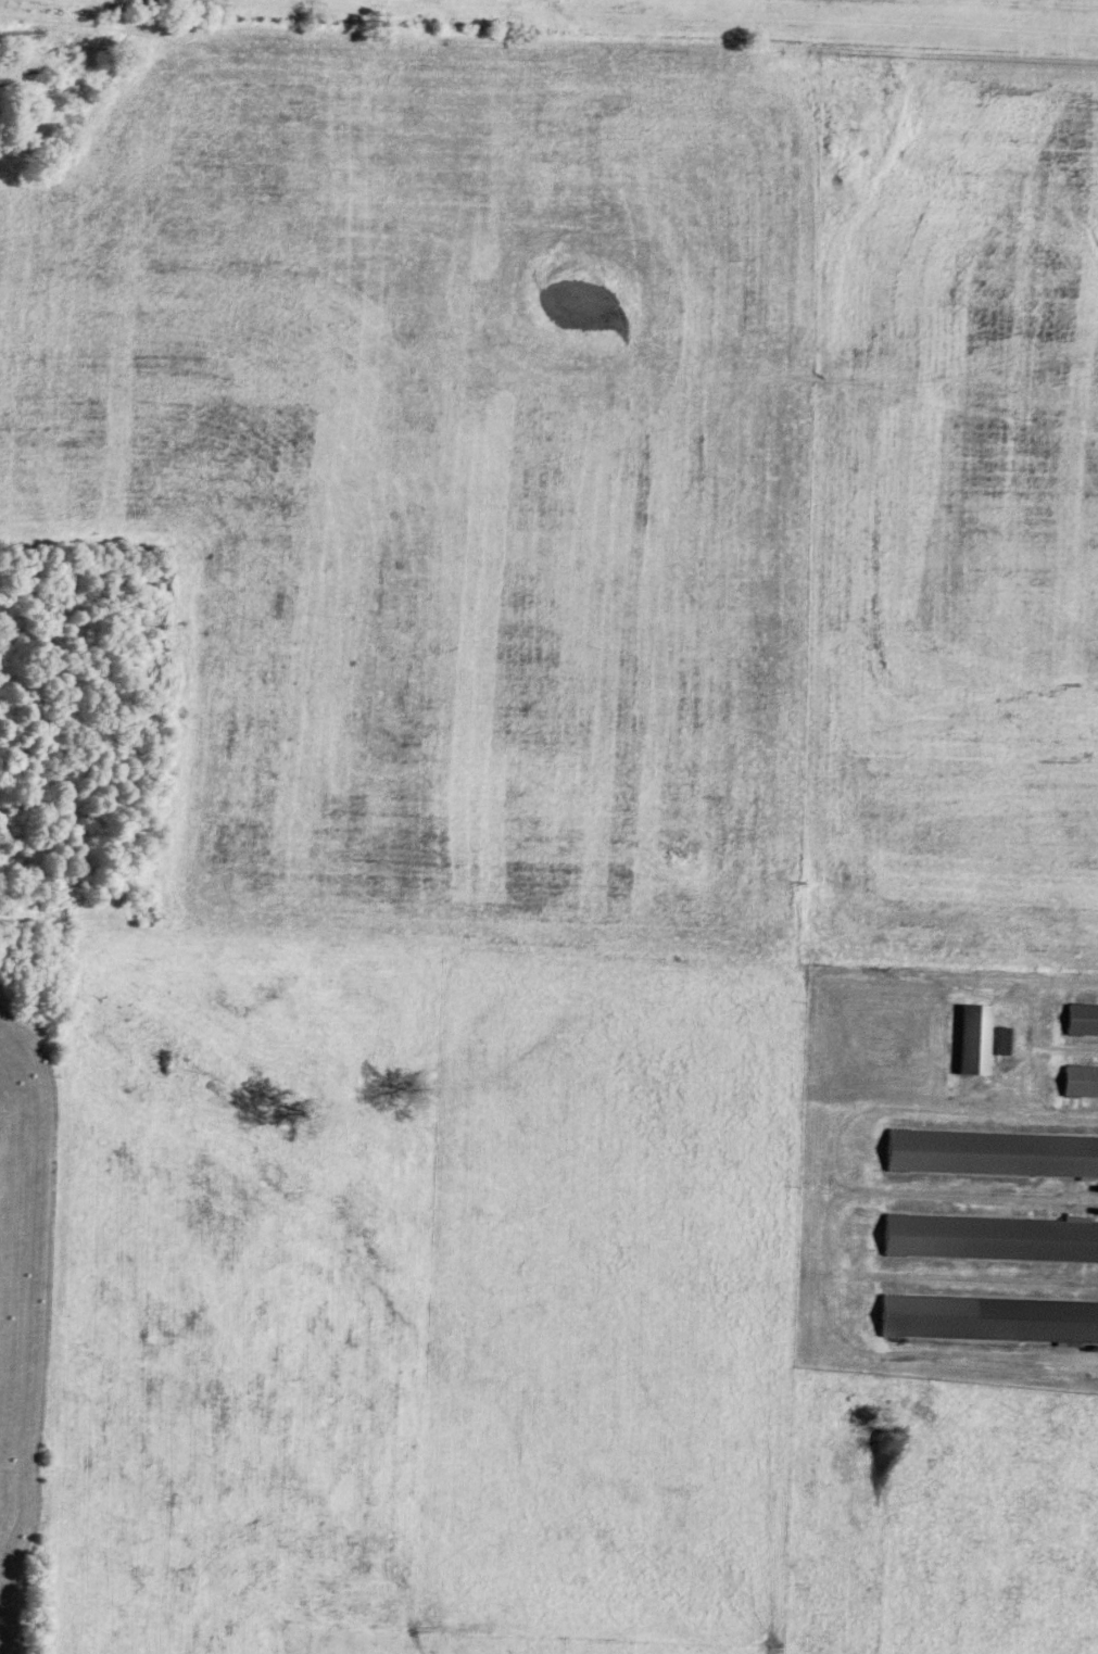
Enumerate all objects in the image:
building: (1081, 1023)
building: (1004, 1044)
building: (1080, 1084)
building: (992, 1158)
building: (989, 1242)
road: (824, 1272)

